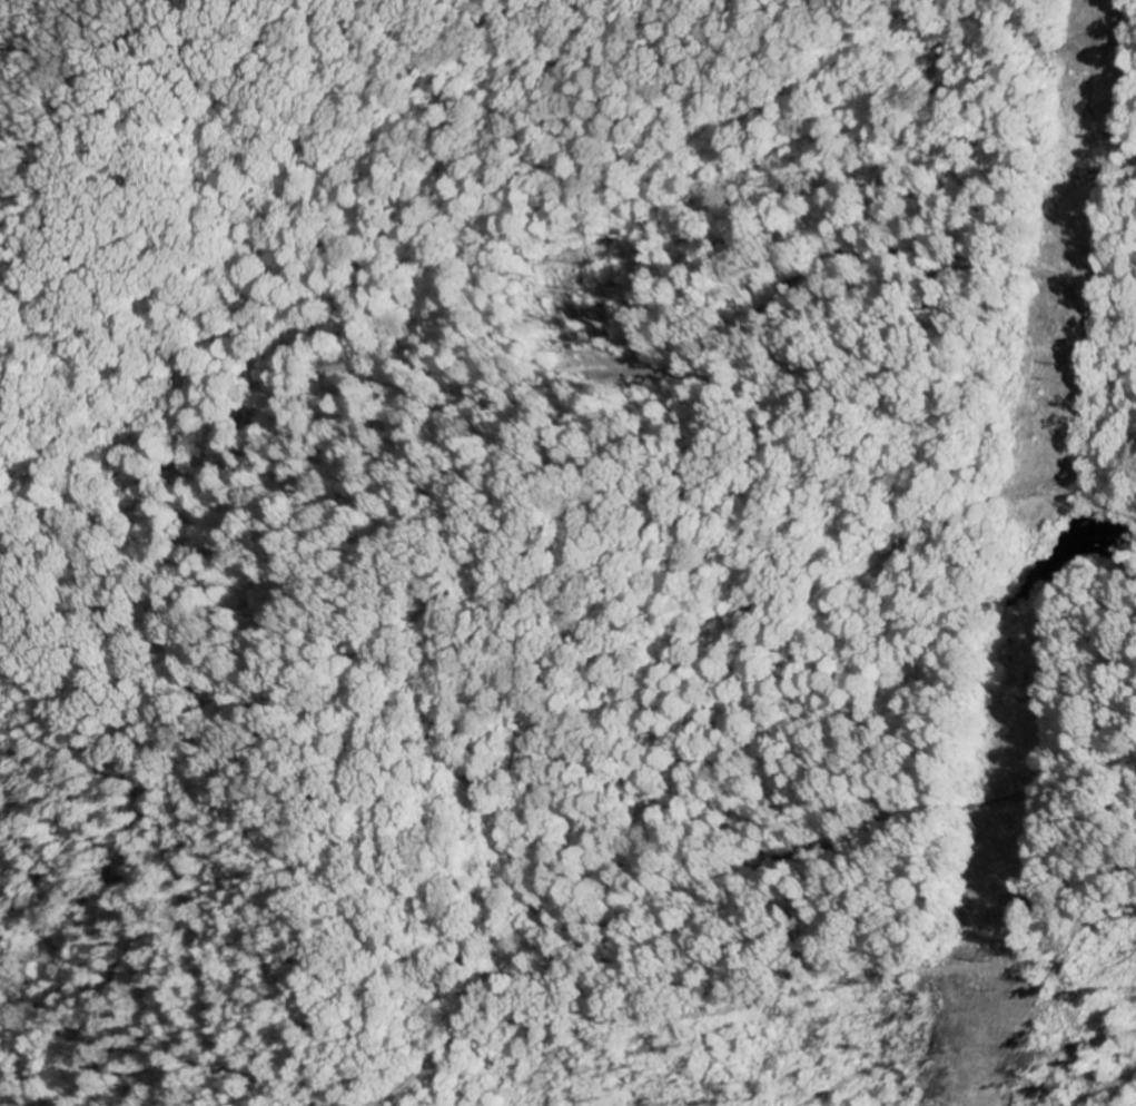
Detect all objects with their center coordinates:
power tower: (1045, 359)
power tower: (979, 960)

